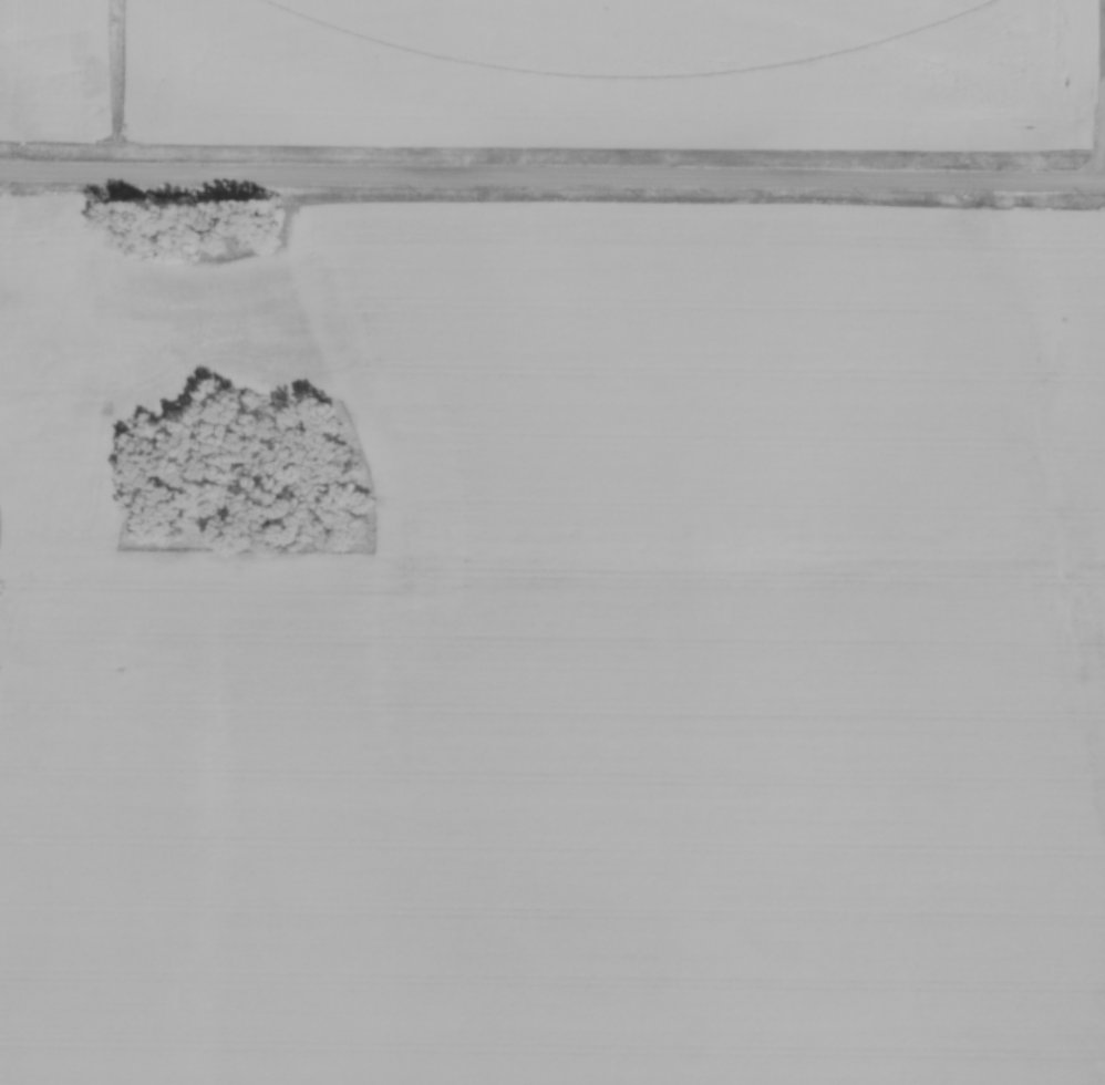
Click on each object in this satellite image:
road: (1098, 92)
road: (552, 178)

